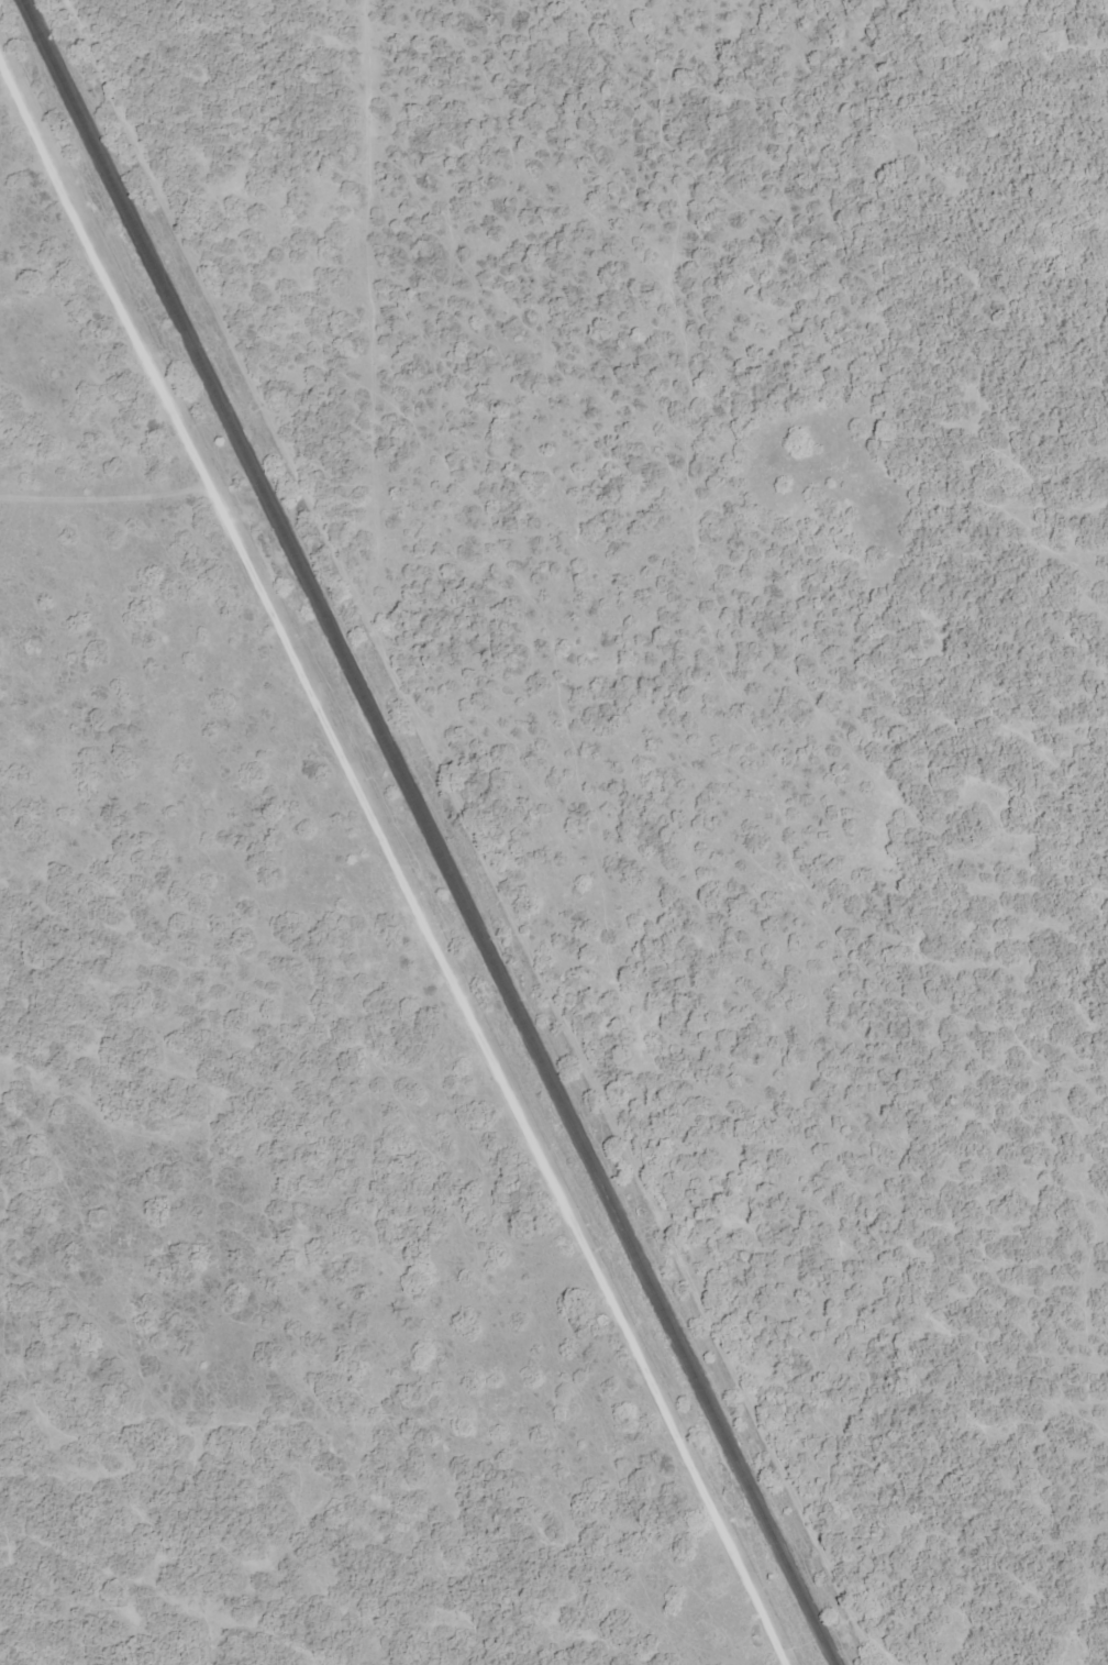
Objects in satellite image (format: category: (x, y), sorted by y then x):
railway: (432, 833)
road: (389, 880)

